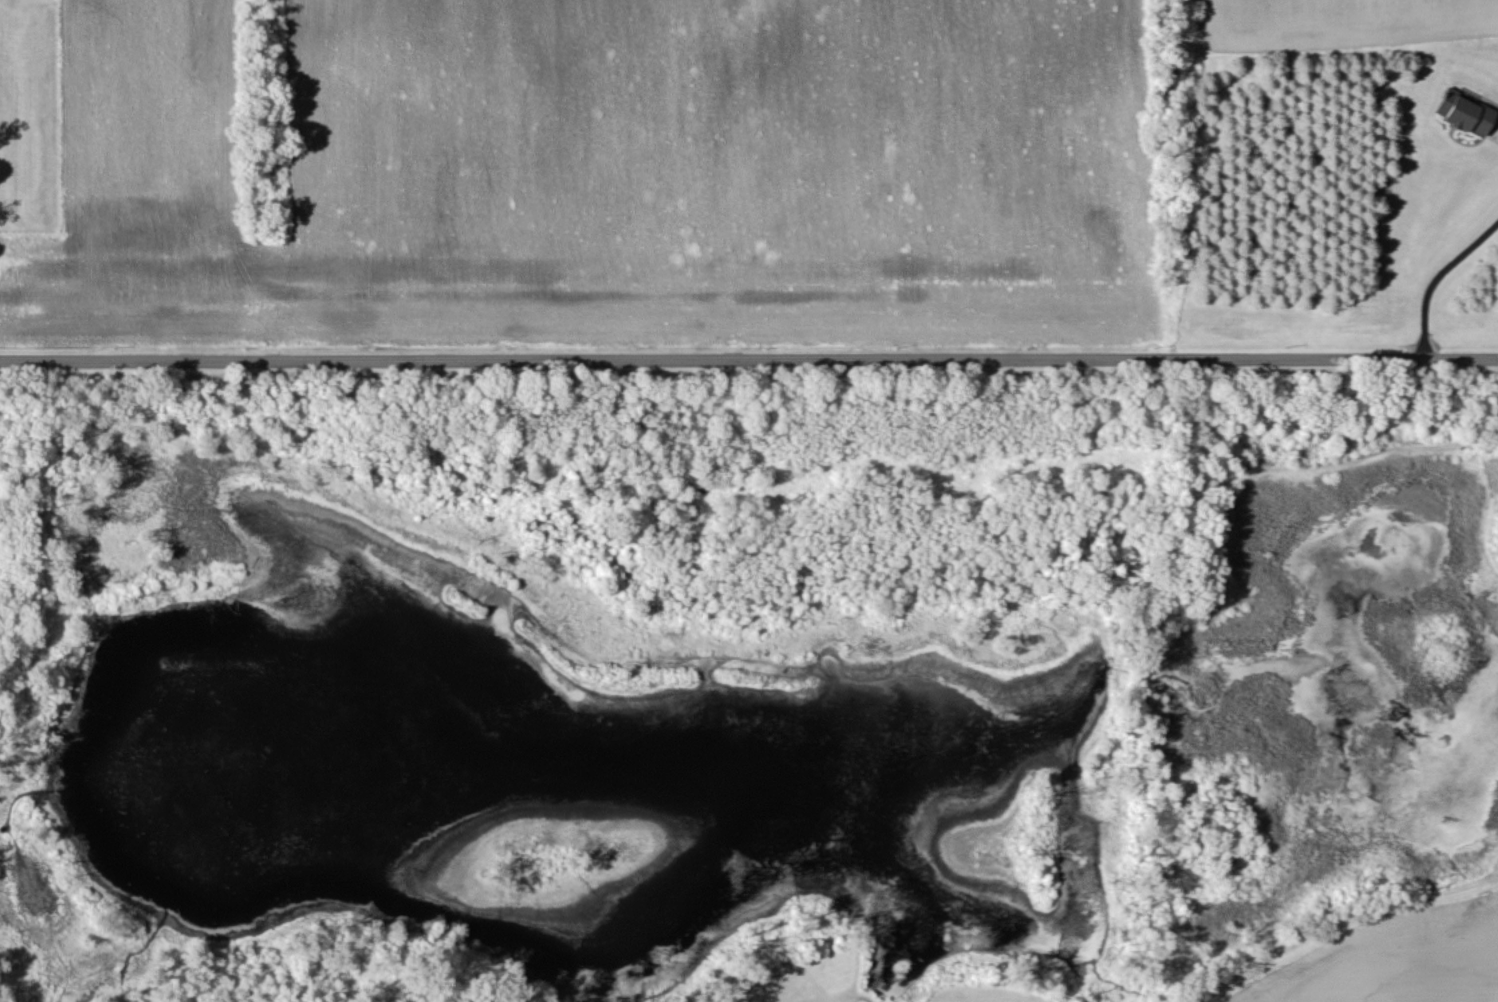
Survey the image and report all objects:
building: (1464, 116)
road: (1433, 275)
road: (749, 366)

